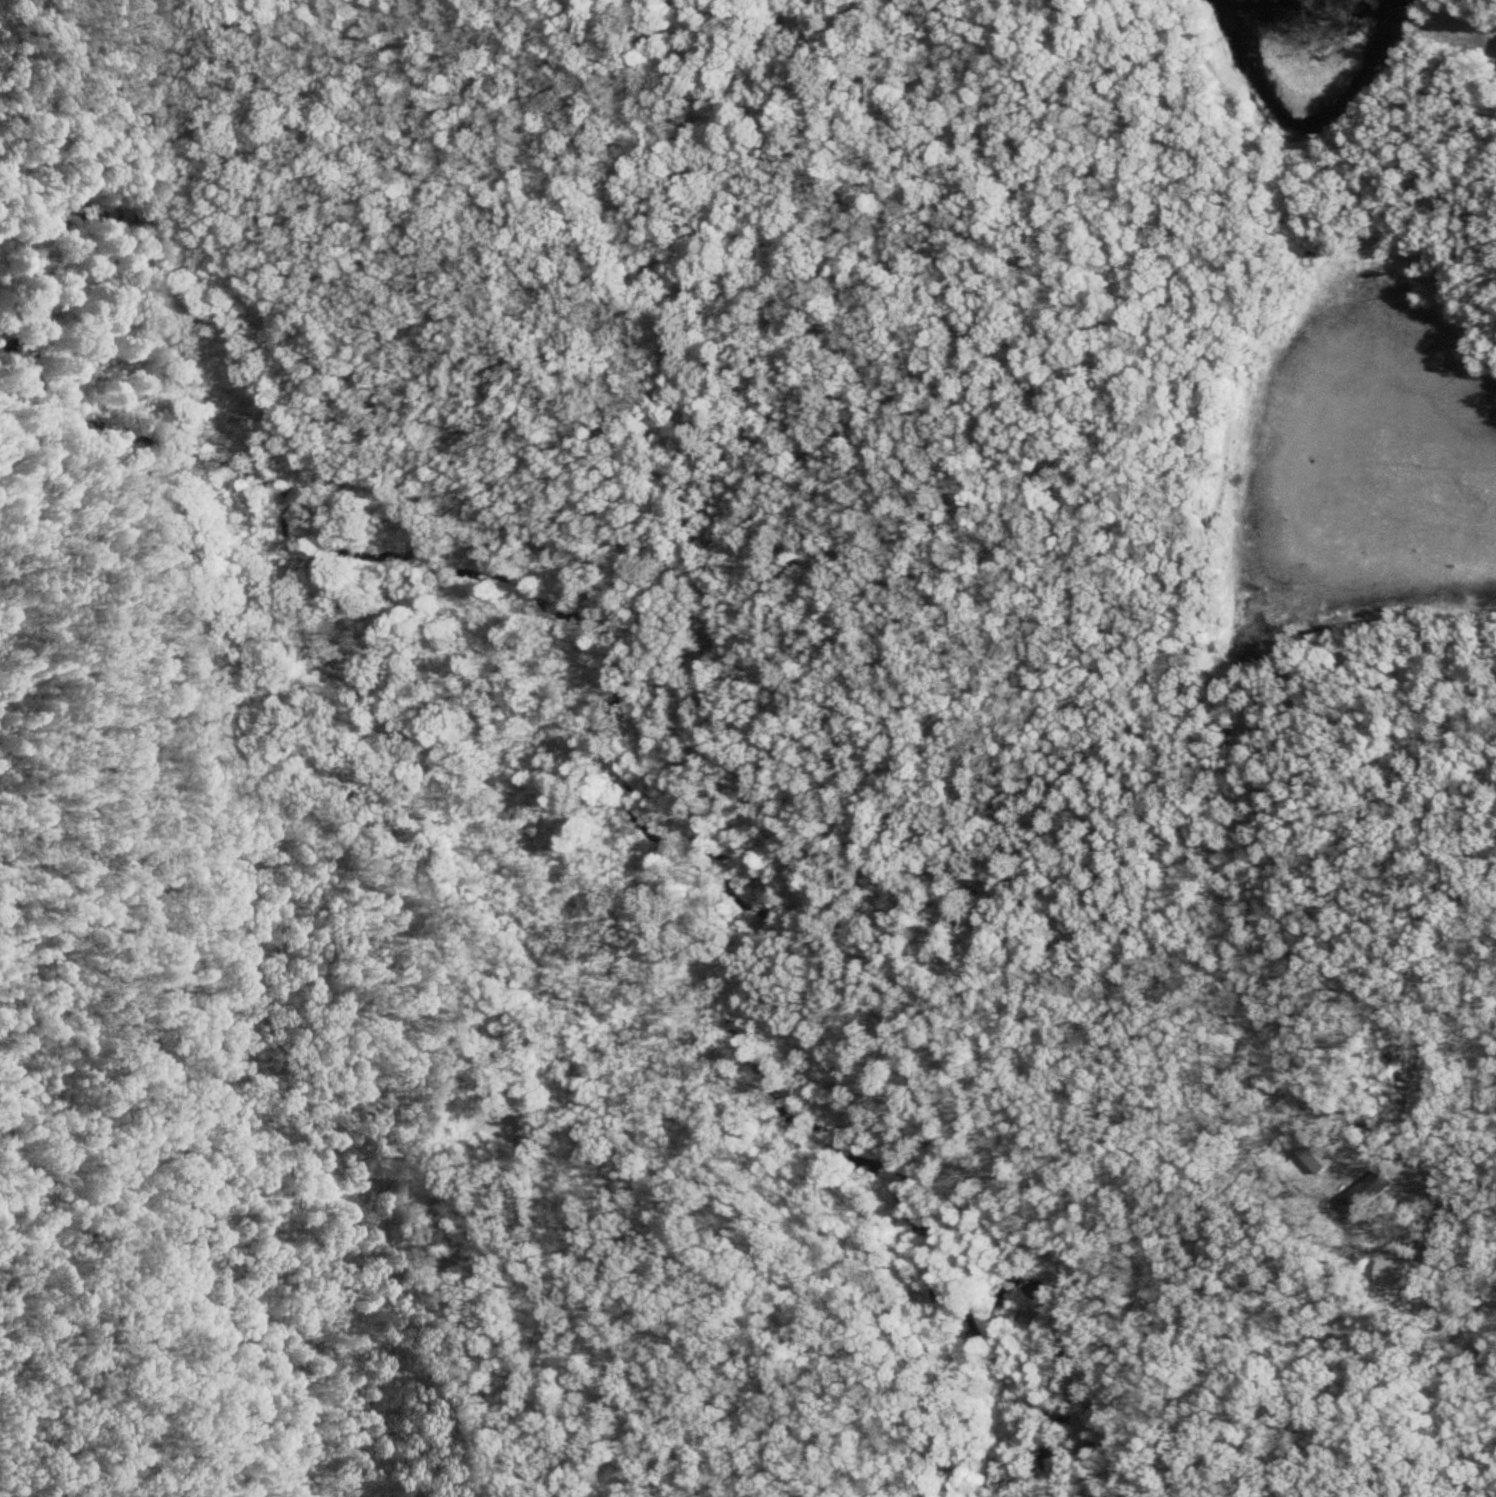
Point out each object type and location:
building: (1381, 1185)
road: (1480, 1213)
road: (1370, 1234)
road: (75, 1366)

